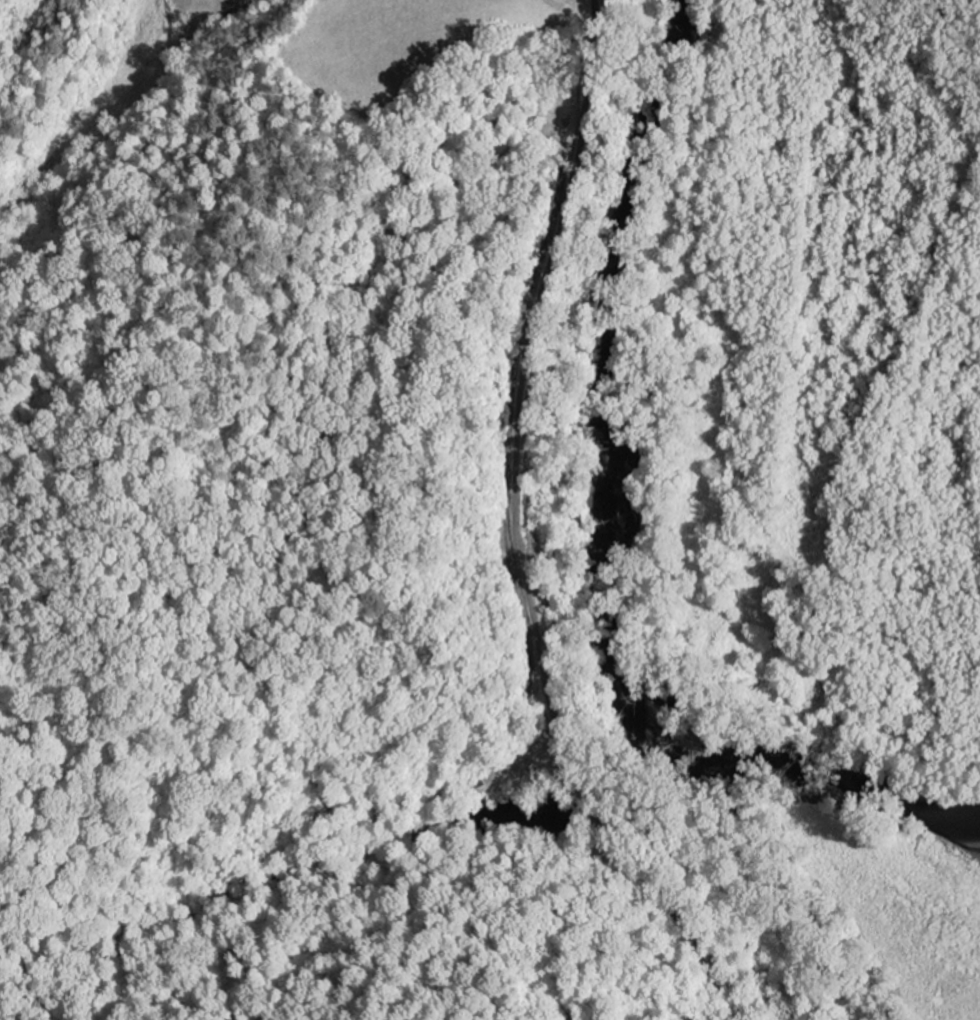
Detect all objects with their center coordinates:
river: (601, 533)
road: (519, 535)

